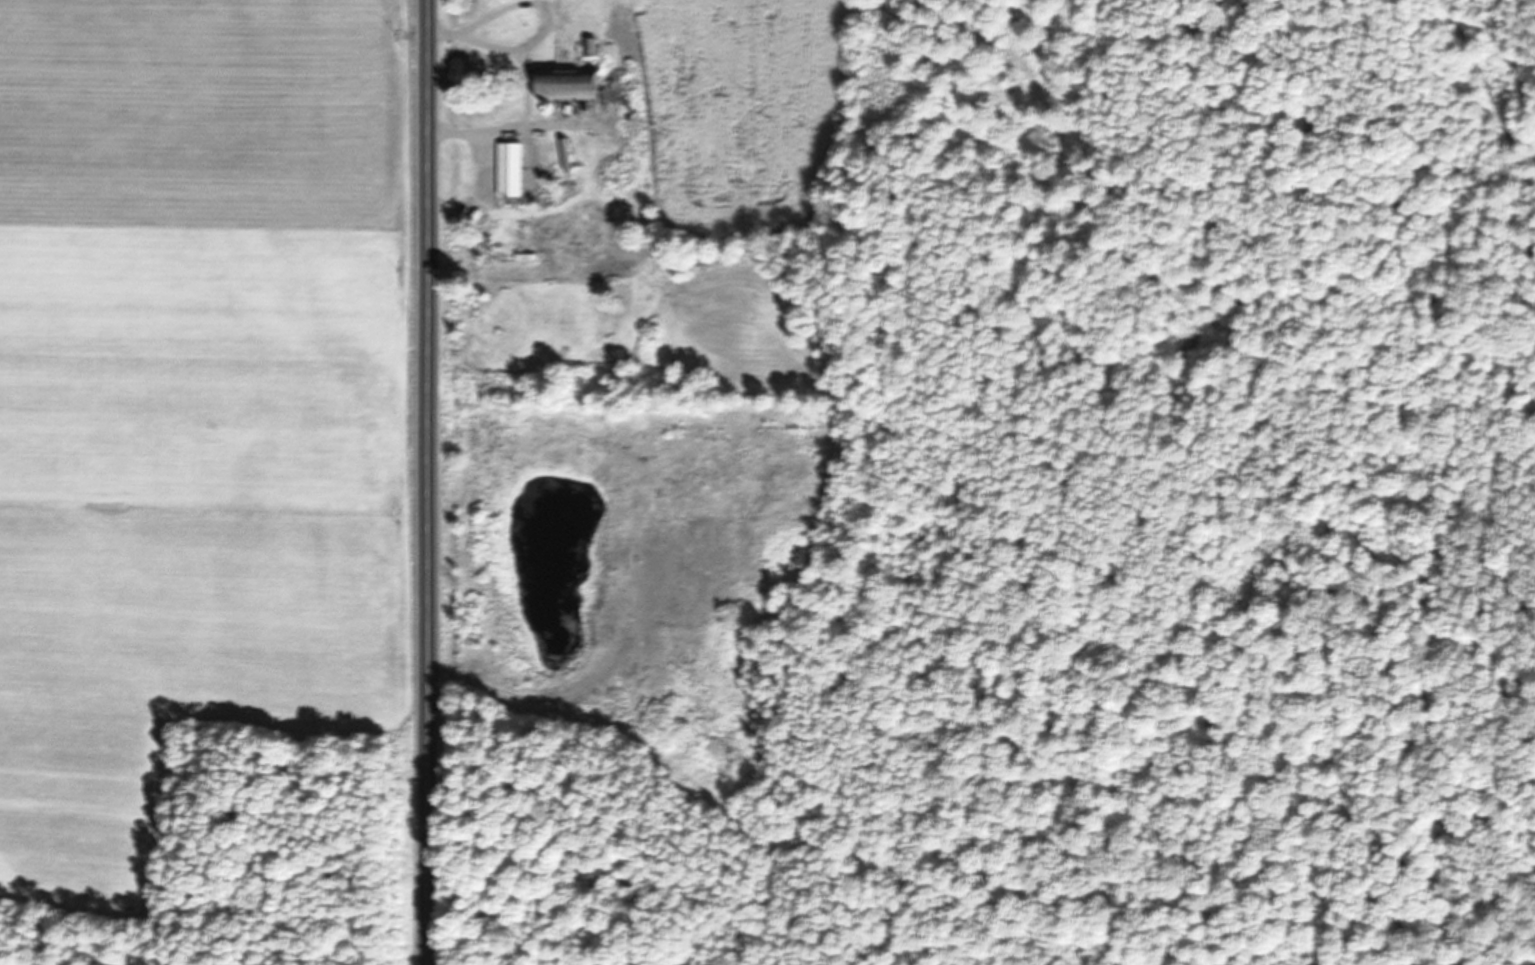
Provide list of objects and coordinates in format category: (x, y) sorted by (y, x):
building: (591, 47)
building: (573, 84)
building: (512, 169)
crop: (736, 196)
crop: (198, 410)
road: (427, 482)

